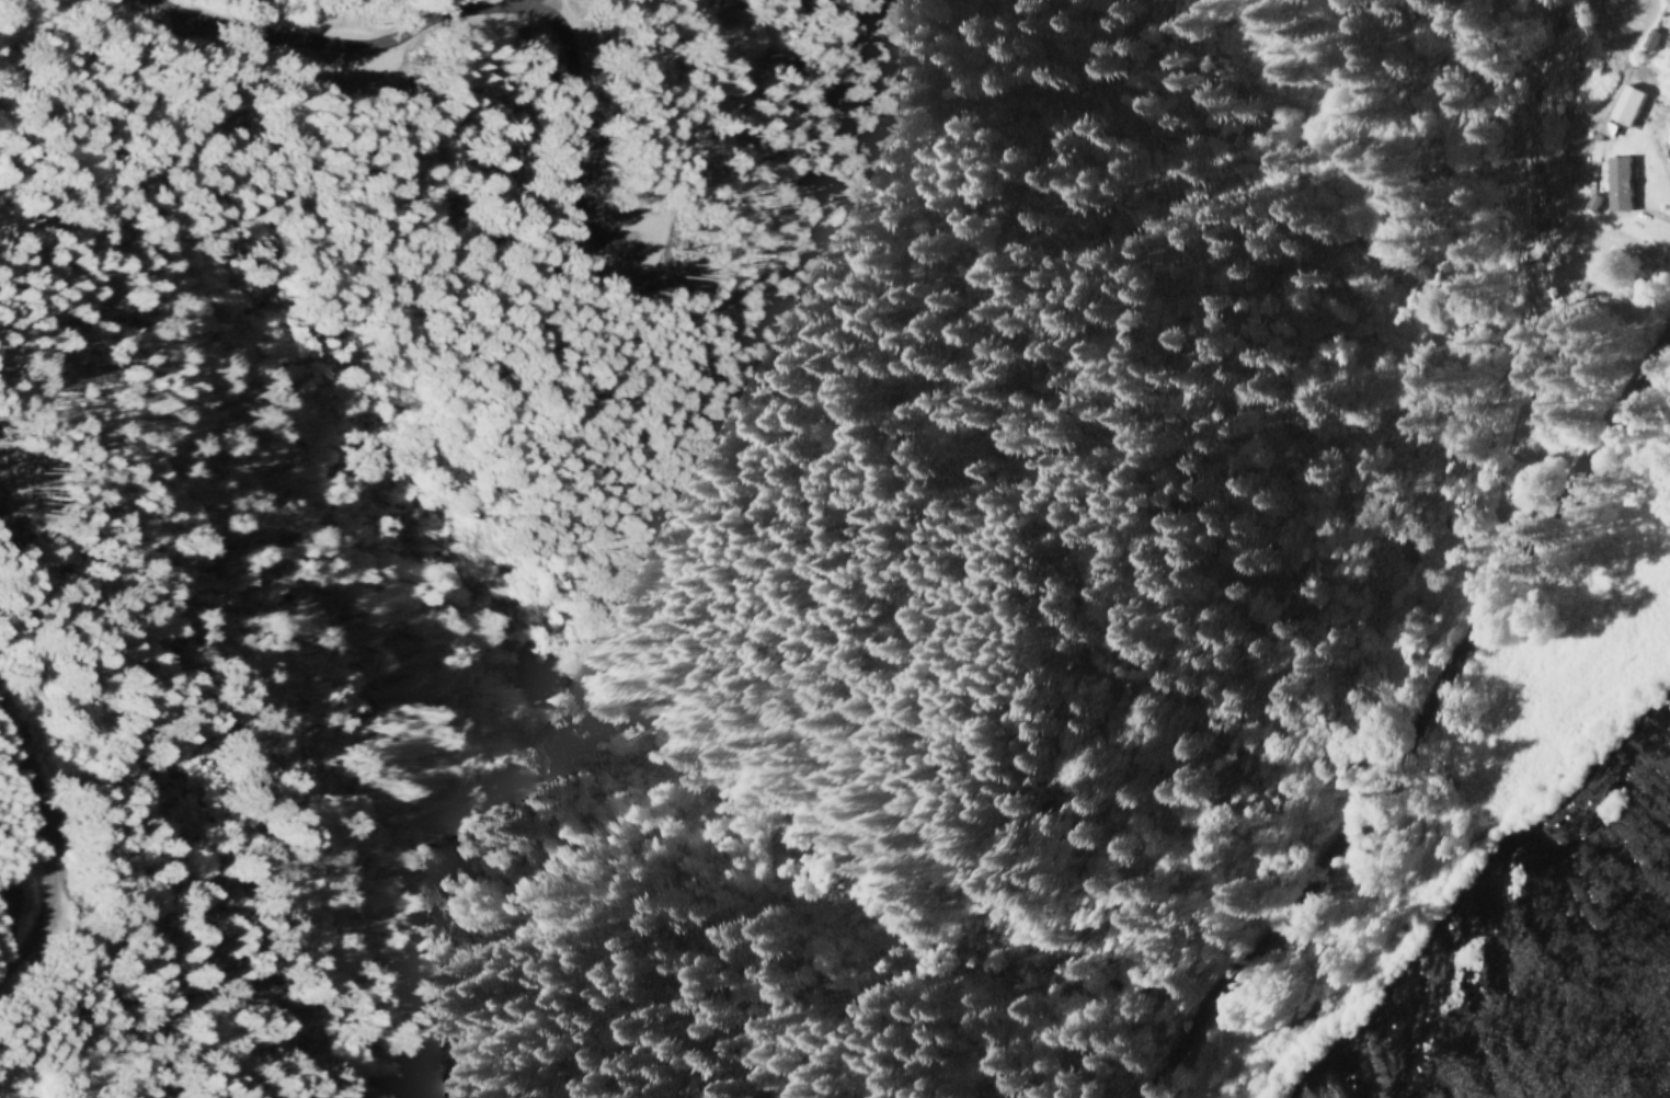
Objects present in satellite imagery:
building: (1646, 39)
building: (1666, 43)
building: (1621, 105)
building: (1667, 135)
building: (1613, 184)
road: (1417, 725)
river: (1626, 1046)

